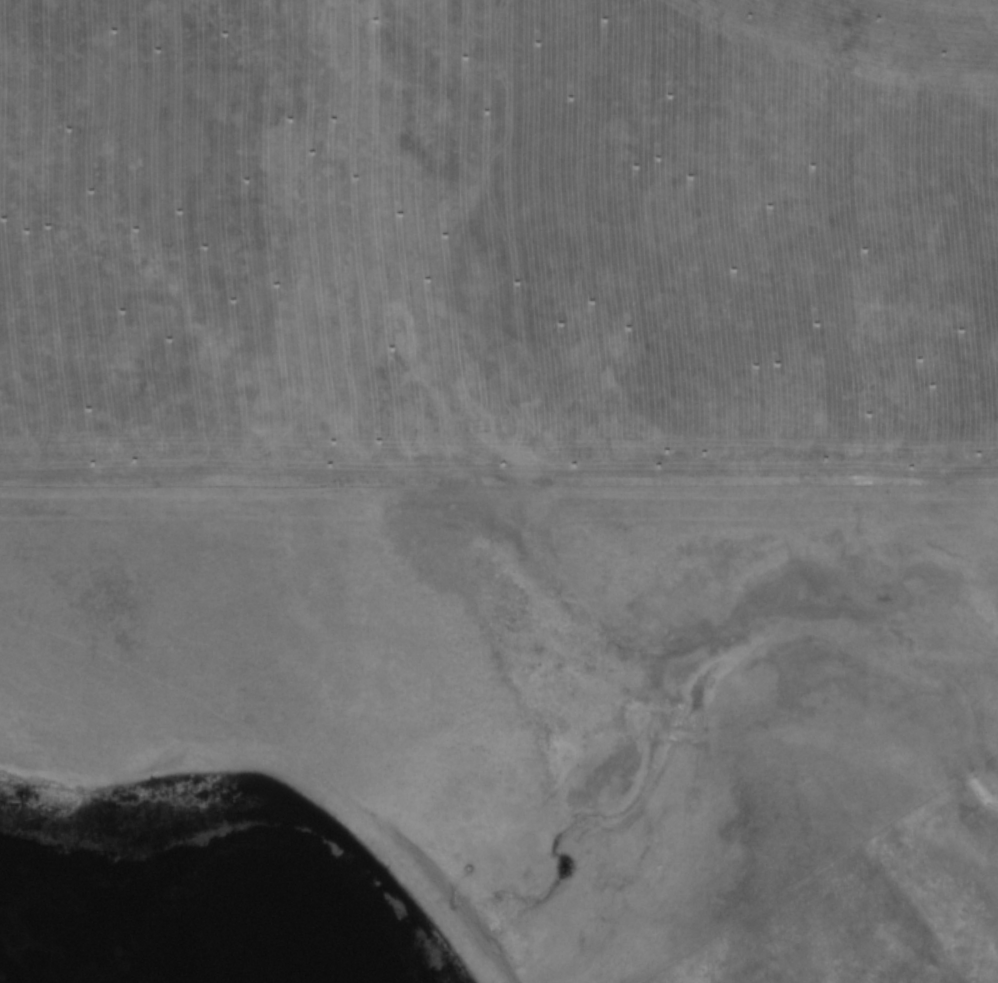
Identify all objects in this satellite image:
dam: (433, 883)

